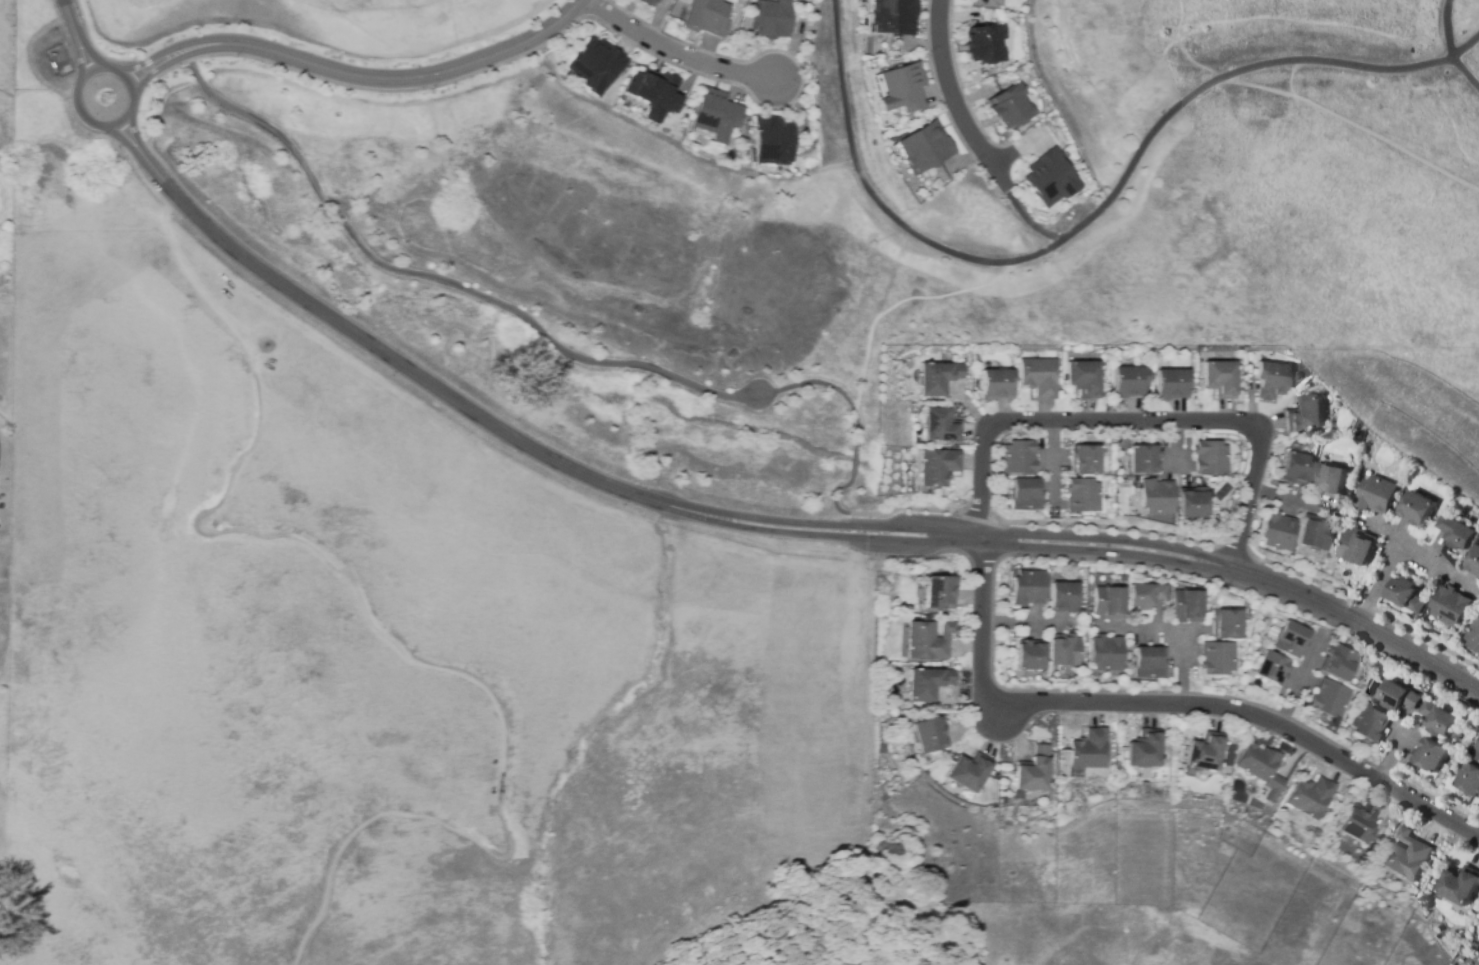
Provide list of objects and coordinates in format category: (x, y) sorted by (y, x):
building: (641, 4)
building: (706, 18)
building: (774, 18)
building: (885, 19)
road: (77, 34)
building: (983, 45)
road: (1449, 49)
road: (677, 52)
road: (100, 66)
road: (148, 66)
building: (602, 66)
road: (172, 67)
road: (359, 77)
building: (897, 91)
building: (664, 96)
road: (958, 101)
building: (1011, 106)
building: (720, 116)
road: (1348, 120)
building: (777, 142)
building: (925, 148)
building: (1051, 177)
road: (1094, 213)
road: (1029, 223)
road: (943, 294)
road: (874, 319)
road: (381, 353)
road: (598, 362)
building: (1041, 377)
building: (938, 378)
building: (1084, 378)
building: (1221, 379)
building: (1273, 380)
building: (1130, 382)
building: (1173, 384)
building: (997, 385)
building: (1305, 414)
road: (1138, 421)
building: (939, 426)
building: (1019, 457)
building: (1212, 458)
building: (1085, 459)
building: (1144, 459)
building: (938, 467)
building: (1297, 468)
building: (1329, 480)
building: (1026, 494)
building: (1083, 495)
building: (1377, 495)
building: (1157, 497)
building: (1193, 505)
building: (1418, 510)
building: (1278, 532)
building: (1457, 533)
building: (1316, 534)
road: (1100, 545)
building: (1357, 547)
building: (1474, 564)
road: (1378, 581)
building: (1029, 588)
building: (940, 592)
building: (1407, 595)
building: (1145, 596)
building: (1064, 597)
road: (569, 603)
building: (1108, 603)
building: (1187, 606)
building: (1451, 607)
building: (1227, 624)
road: (370, 627)
building: (1474, 635)
building: (1292, 640)
building: (929, 641)
building: (1065, 650)
building: (1106, 653)
building: (1030, 656)
building: (1218, 658)
building: (1149, 663)
building: (1340, 663)
building: (1272, 668)
building: (928, 684)
building: (1399, 696)
building: (1330, 699)
road: (1165, 705)
building: (1438, 719)
building: (1370, 723)
building: (932, 735)
building: (1090, 750)
building: (1145, 750)
building: (1206, 752)
building: (1430, 755)
building: (1477, 755)
building: (1262, 769)
building: (1034, 771)
building: (970, 772)
building: (1470, 779)
building: (1311, 797)
building: (1358, 822)
building: (1407, 857)
building: (1460, 885)
building: (1475, 908)
park: (1048, 936)
building: (1478, 957)

